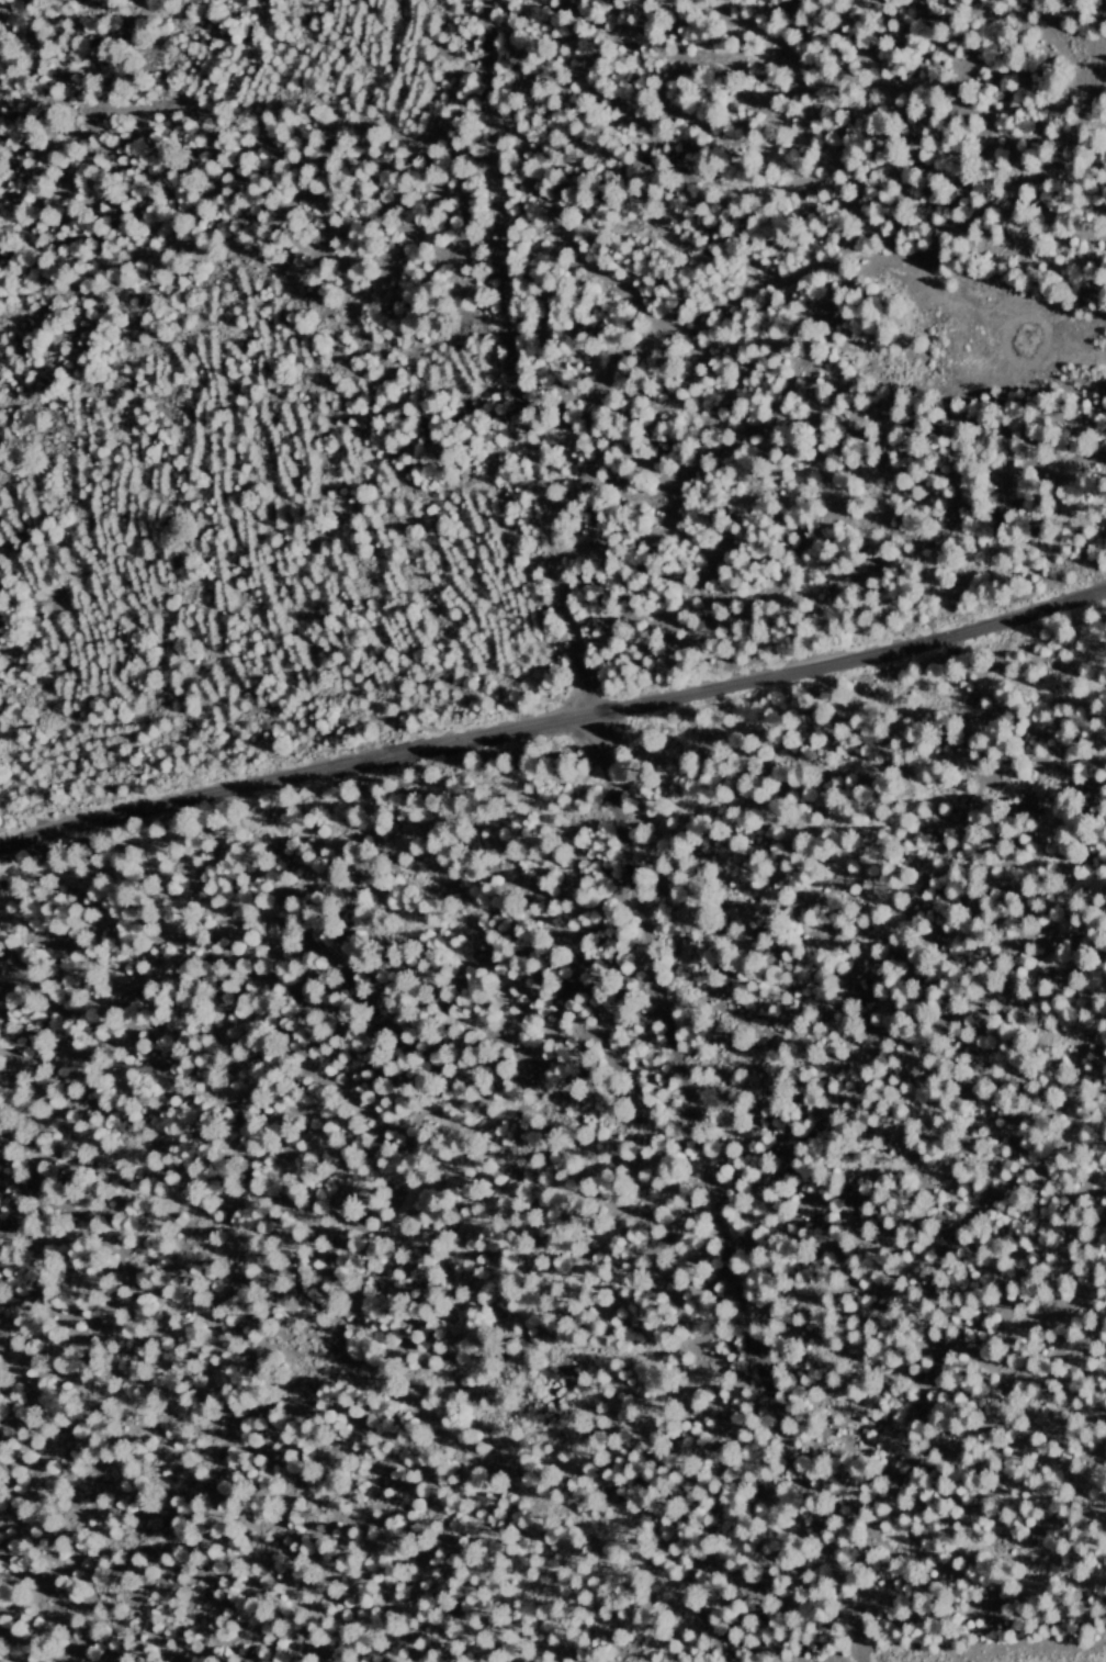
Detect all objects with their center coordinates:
road: (553, 723)
road: (665, 854)

